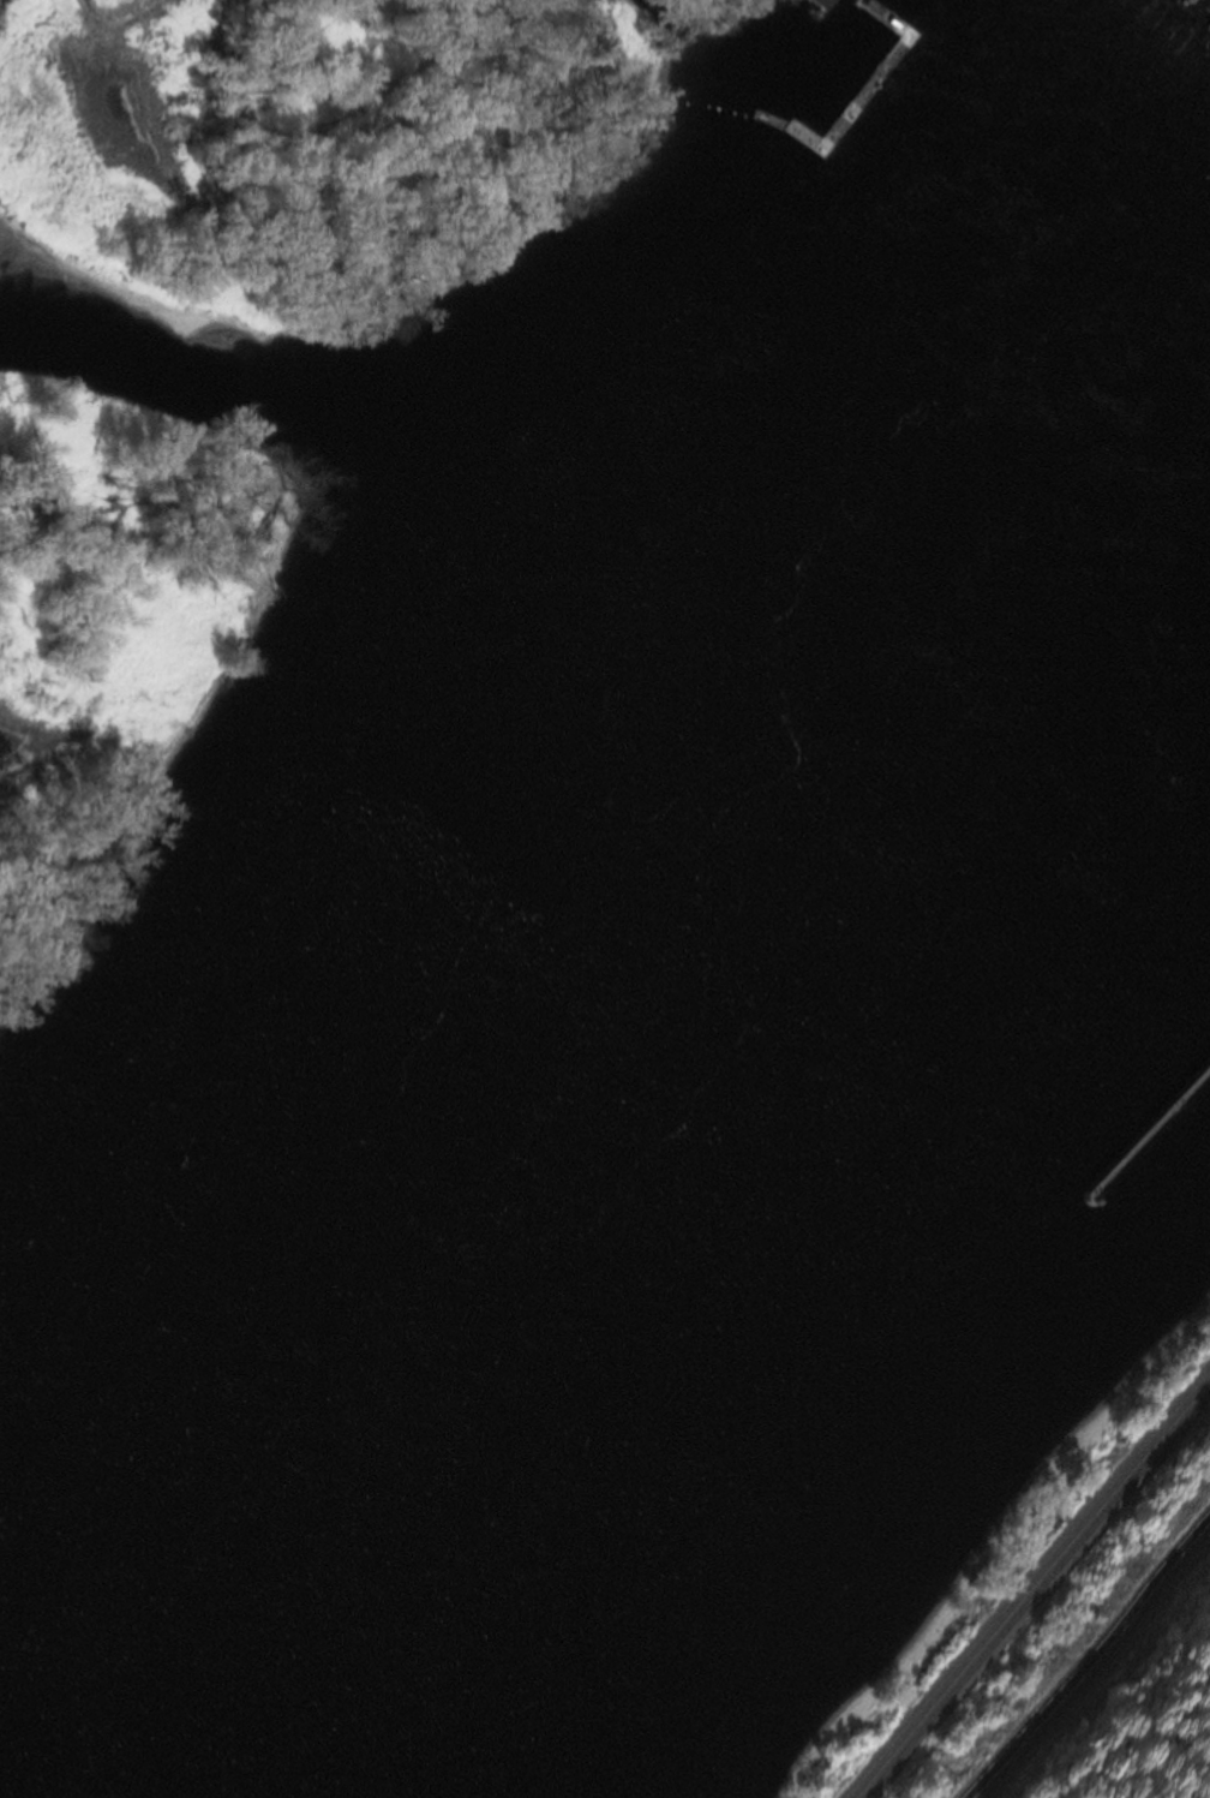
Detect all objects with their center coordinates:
building: (819, 2)
river: (637, 1379)
railway: (1029, 1585)
railway: (1036, 1596)
road: (1095, 1666)

